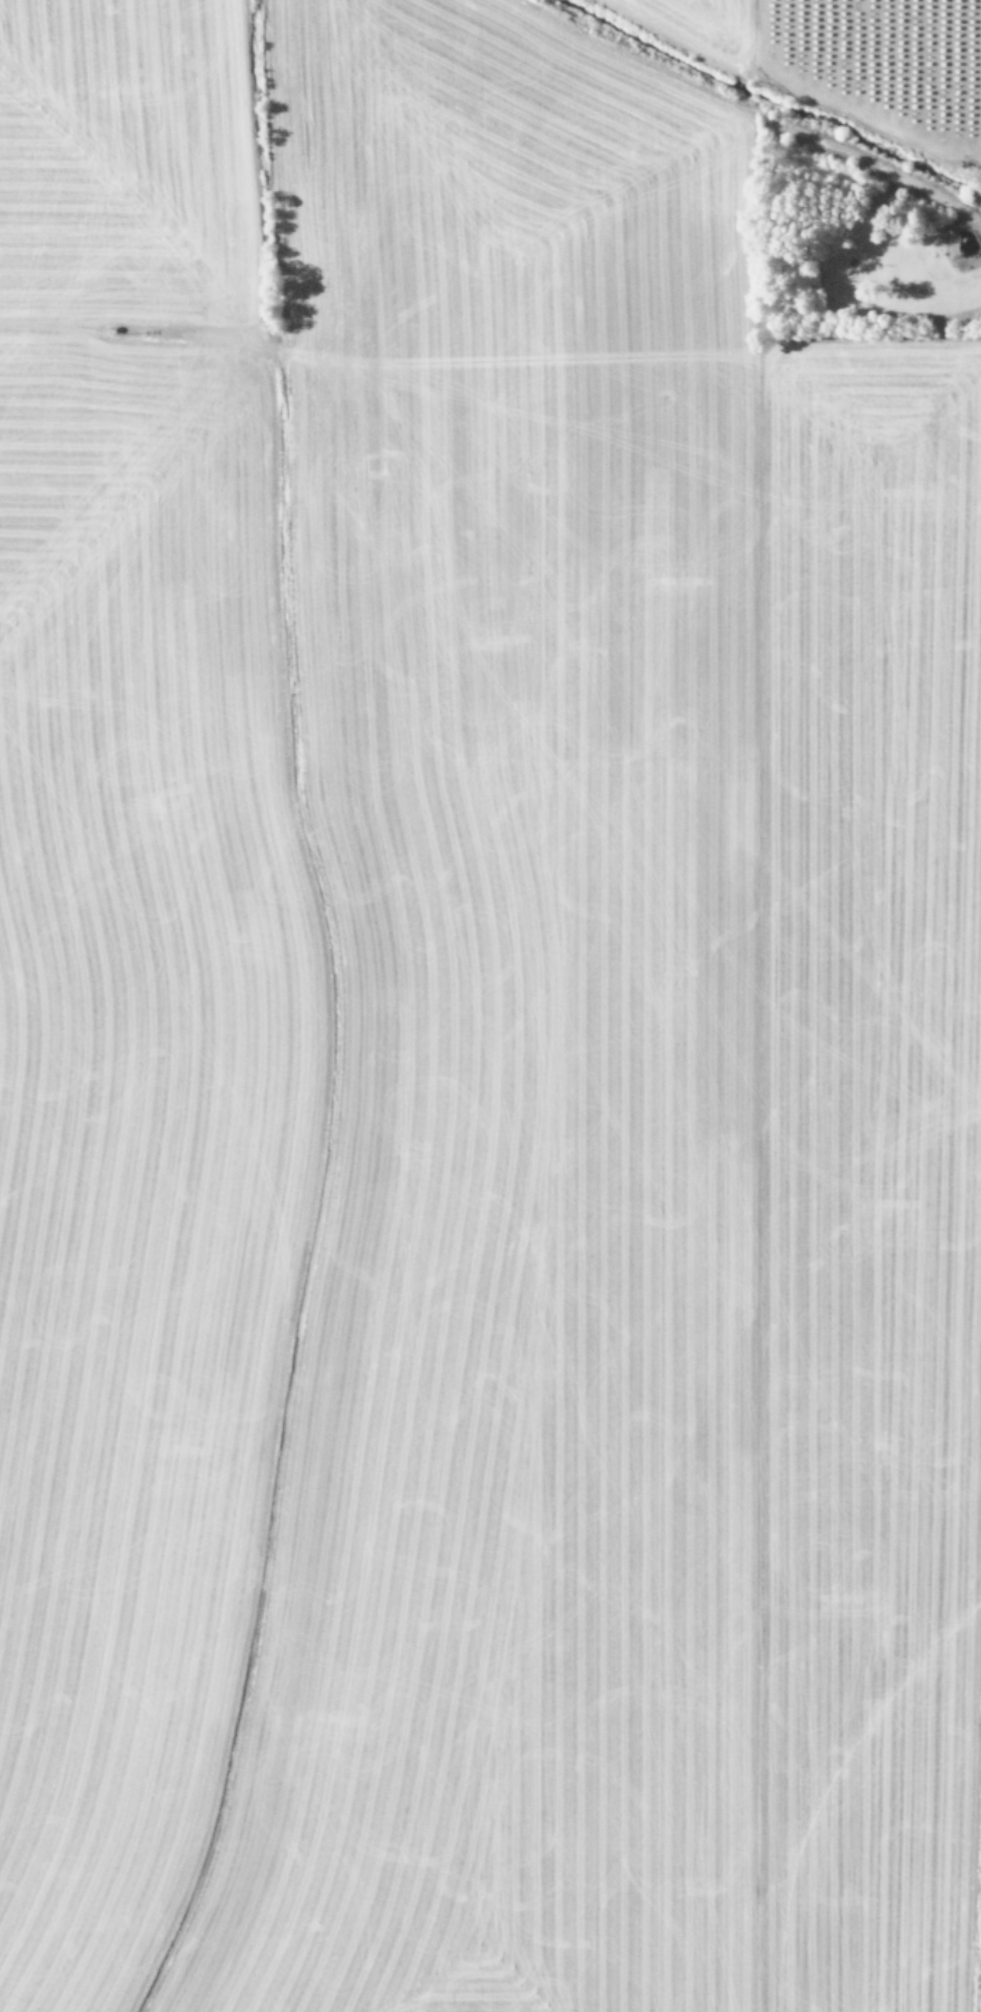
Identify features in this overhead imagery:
crop: (488, 1002)

